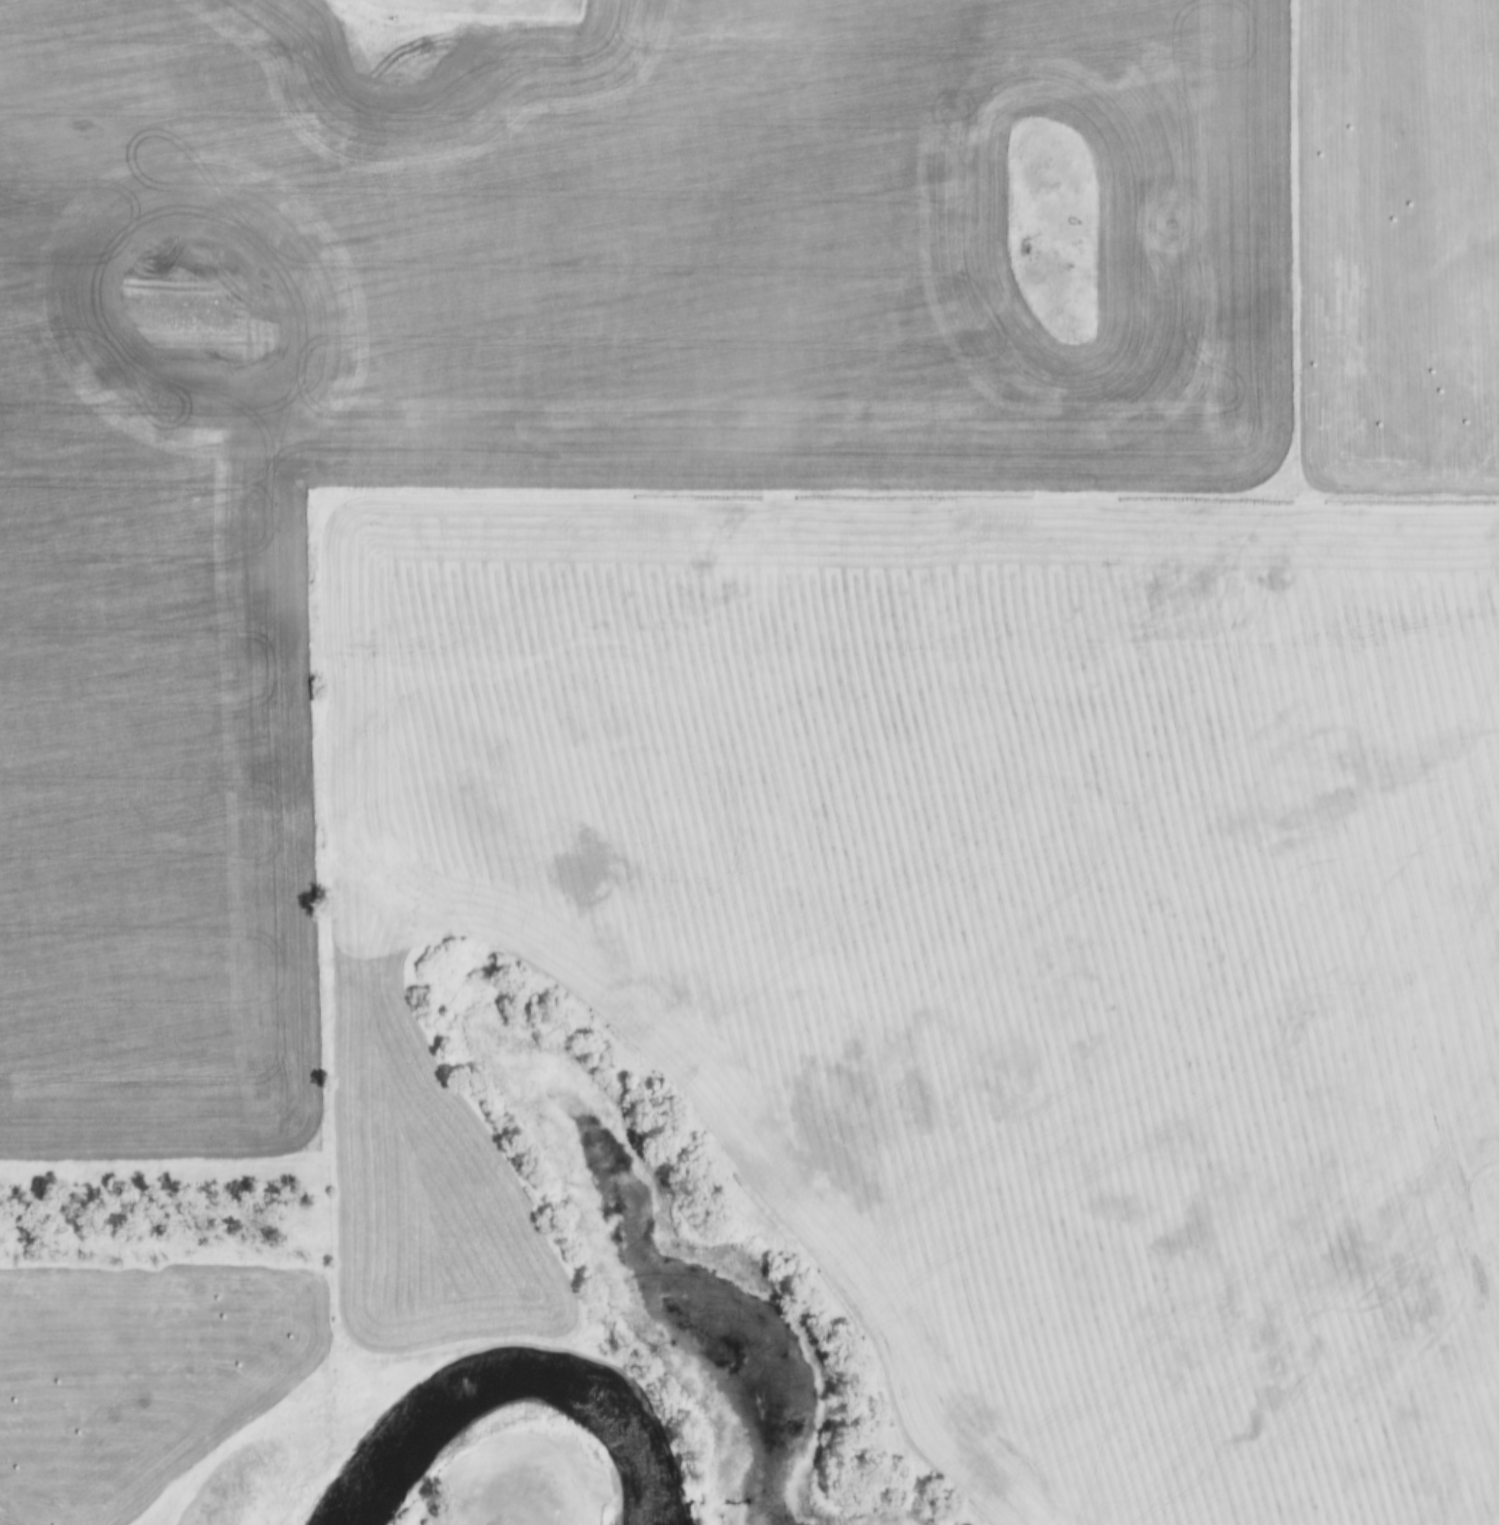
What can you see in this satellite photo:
river: (510, 1382)

